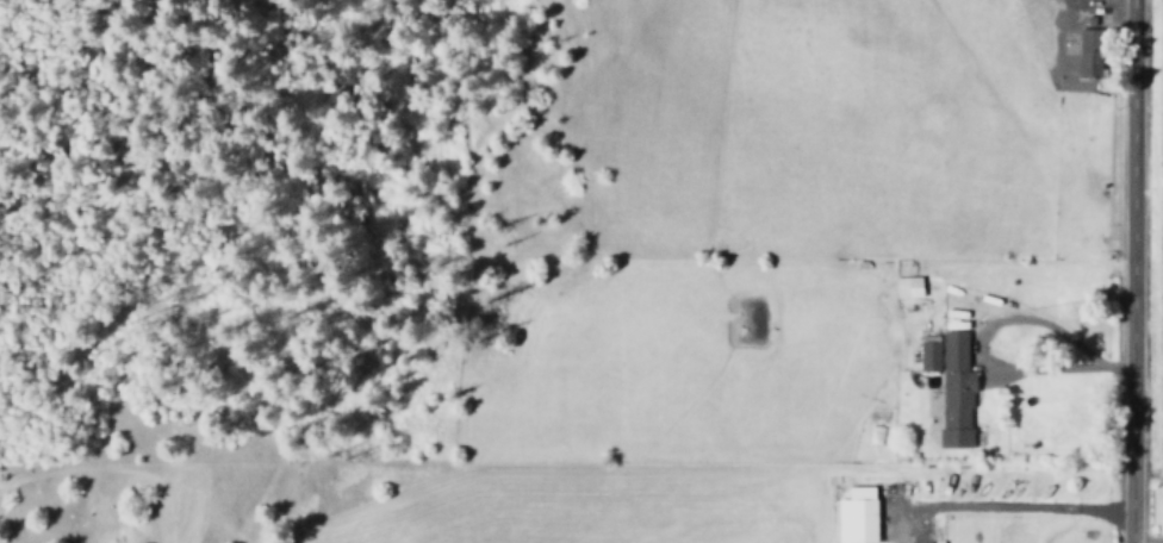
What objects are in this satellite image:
building: (1090, 52)
road: (1127, 271)
building: (909, 287)
building: (928, 354)
building: (956, 392)
building: (858, 516)

